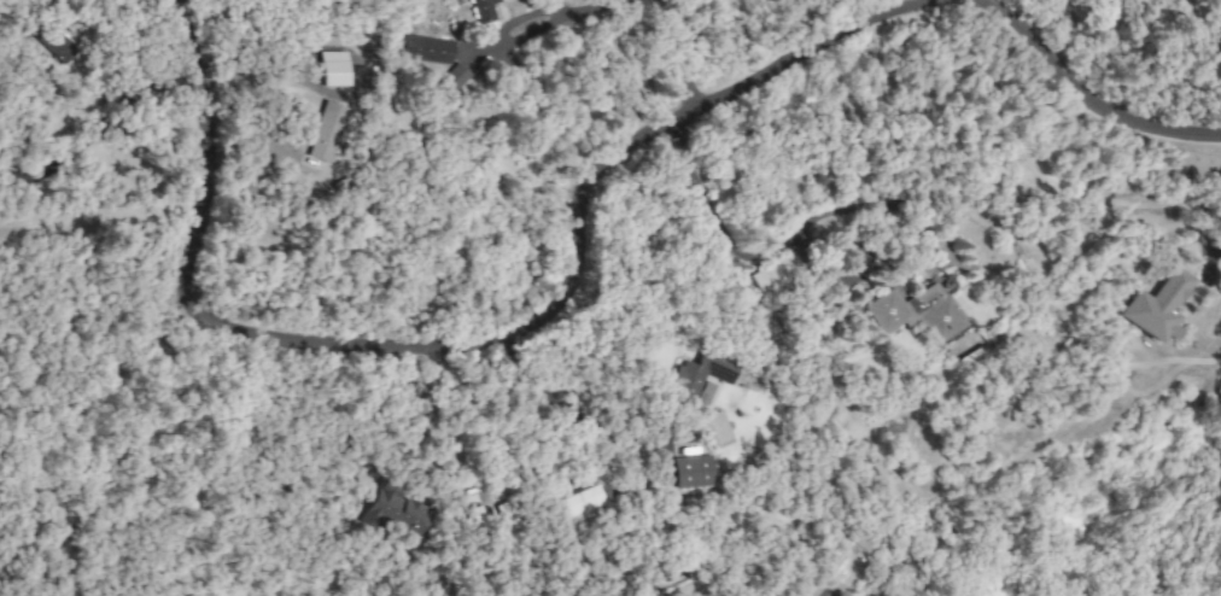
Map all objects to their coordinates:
road: (900, 5)
building: (481, 10)
building: (59, 48)
building: (425, 48)
building: (333, 69)
building: (451, 80)
road: (1087, 94)
building: (320, 130)
road: (95, 133)
road: (1214, 252)
road: (766, 253)
building: (855, 261)
building: (777, 274)
building: (1155, 306)
building: (916, 312)
road: (492, 337)
building: (696, 376)
road: (561, 407)
road: (420, 411)
building: (682, 434)
building: (691, 472)
building: (583, 506)
building: (392, 513)
building: (508, 513)
building: (478, 518)

